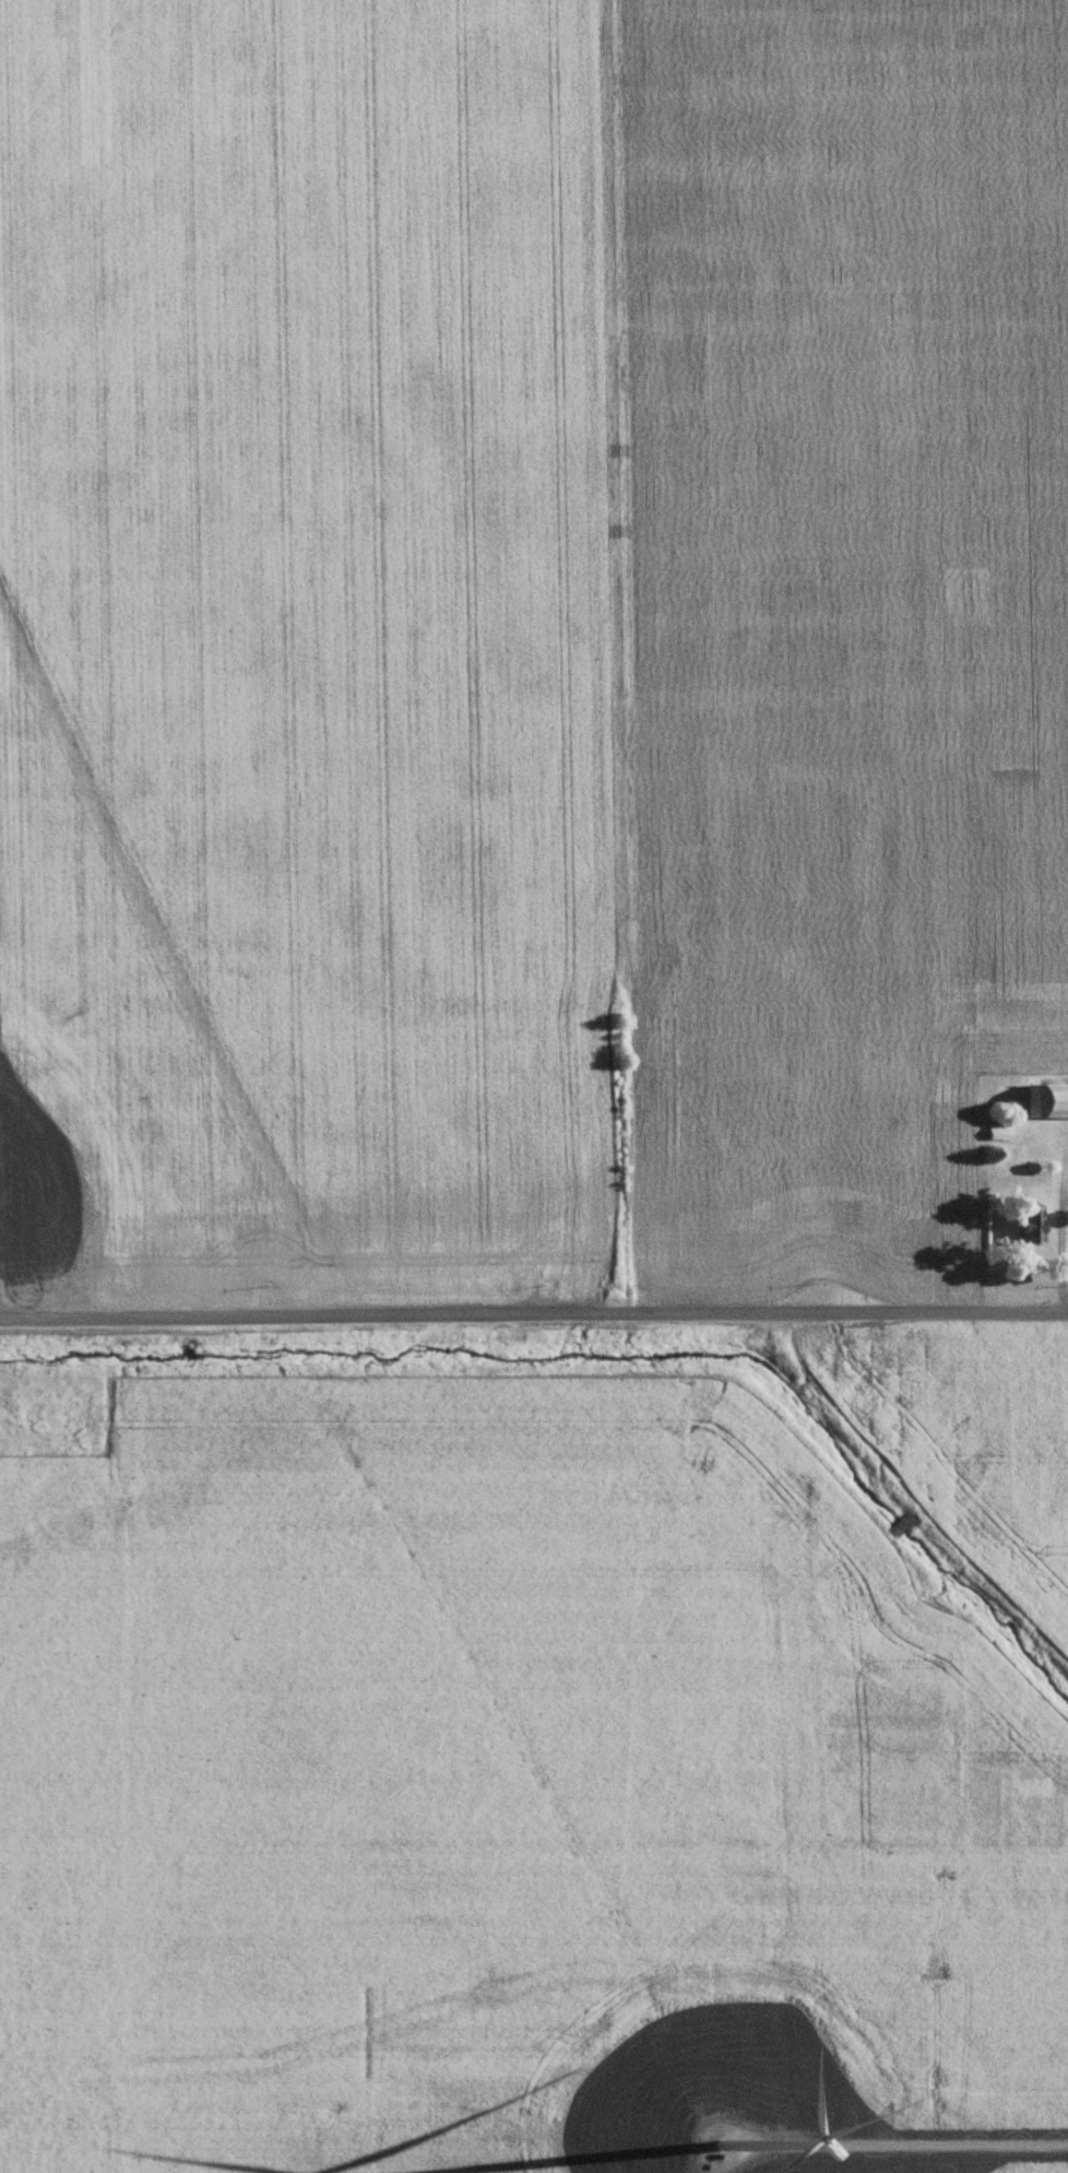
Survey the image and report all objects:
building: (1045, 1099)
building: (1025, 1223)
road: (533, 1314)
wind turbine: (713, 2141)

